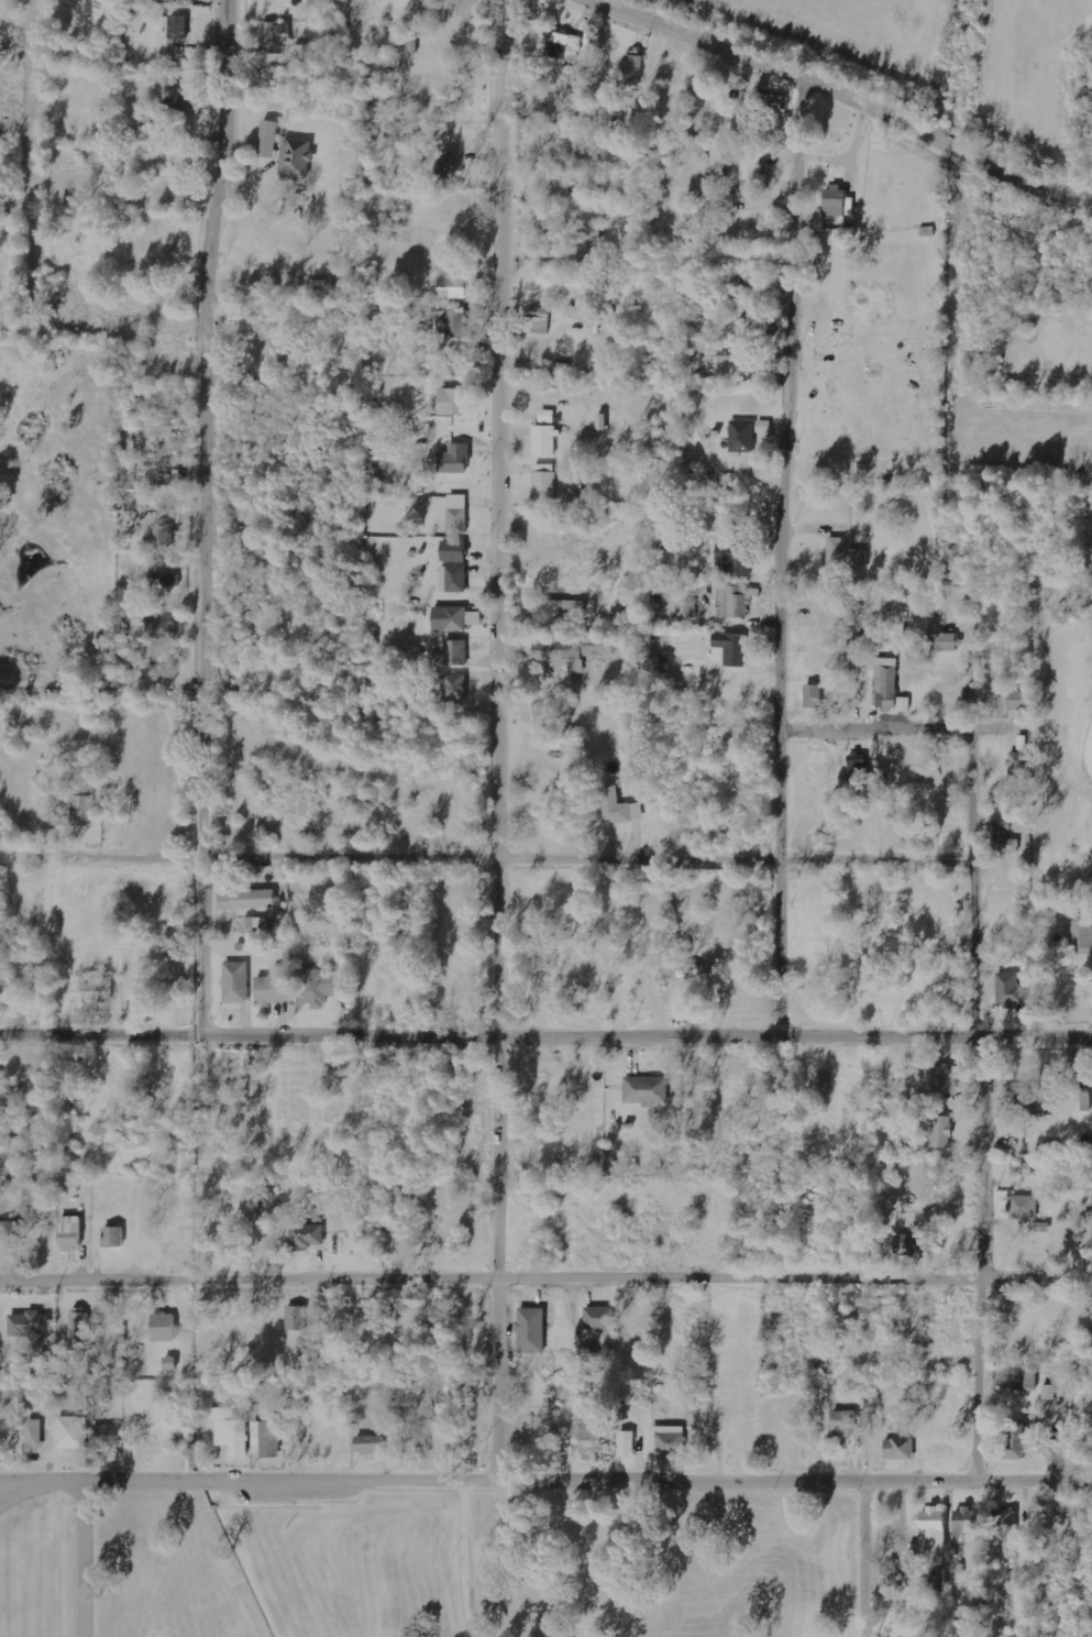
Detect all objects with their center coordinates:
building: (188, 0)
building: (467, 8)
building: (439, 10)
building: (180, 26)
building: (278, 34)
building: (413, 46)
building: (563, 46)
building: (632, 69)
building: (671, 74)
road: (850, 92)
building: (176, 96)
road: (44, 135)
building: (273, 139)
building: (300, 157)
building: (444, 168)
building: (832, 200)
building: (588, 244)
building: (452, 284)
building: (573, 311)
building: (537, 320)
building: (452, 323)
building: (746, 327)
building: (561, 369)
building: (452, 402)
building: (762, 427)
building: (741, 437)
building: (145, 442)
building: (455, 459)
building: (543, 483)
road: (214, 512)
building: (456, 514)
building: (452, 551)
road: (790, 554)
building: (843, 556)
building: (735, 558)
building: (452, 579)
building: (166, 580)
building: (566, 605)
building: (452, 618)
building: (164, 627)
building: (939, 636)
building: (729, 649)
building: (569, 651)
building: (455, 653)
building: (885, 684)
building: (456, 686)
building: (812, 696)
building: (1017, 700)
building: (904, 705)
road: (906, 728)
road: (507, 737)
building: (1017, 763)
building: (856, 766)
building: (618, 807)
building: (86, 810)
building: (1003, 838)
road: (515, 856)
building: (252, 899)
building: (1081, 935)
building: (239, 982)
building: (275, 988)
building: (321, 988)
building: (100, 990)
building: (1008, 990)
road: (545, 1032)
road: (990, 1045)
building: (944, 1080)
building: (646, 1089)
building: (1010, 1091)
building: (1085, 1100)
building: (1030, 1102)
building: (940, 1131)
building: (1021, 1169)
building: (1023, 1207)
building: (5, 1232)
building: (74, 1233)
building: (117, 1235)
building: (306, 1237)
building: (905, 1244)
road: (545, 1274)
building: (295, 1317)
building: (598, 1317)
building: (32, 1323)
building: (81, 1326)
building: (162, 1327)
building: (530, 1330)
building: (169, 1363)
building: (1026, 1381)
building: (1049, 1392)
building: (842, 1422)
building: (229, 1431)
building: (75, 1432)
building: (36, 1433)
building: (264, 1438)
building: (589, 1441)
building: (1014, 1441)
building: (666, 1442)
building: (366, 1444)
building: (625, 1444)
building: (897, 1449)
road: (545, 1474)
road: (15, 1487)
building: (1001, 1520)
building: (963, 1521)
building: (930, 1529)
road: (874, 1556)
road: (84, 1557)
park: (481, 1561)
building: (936, 1579)

